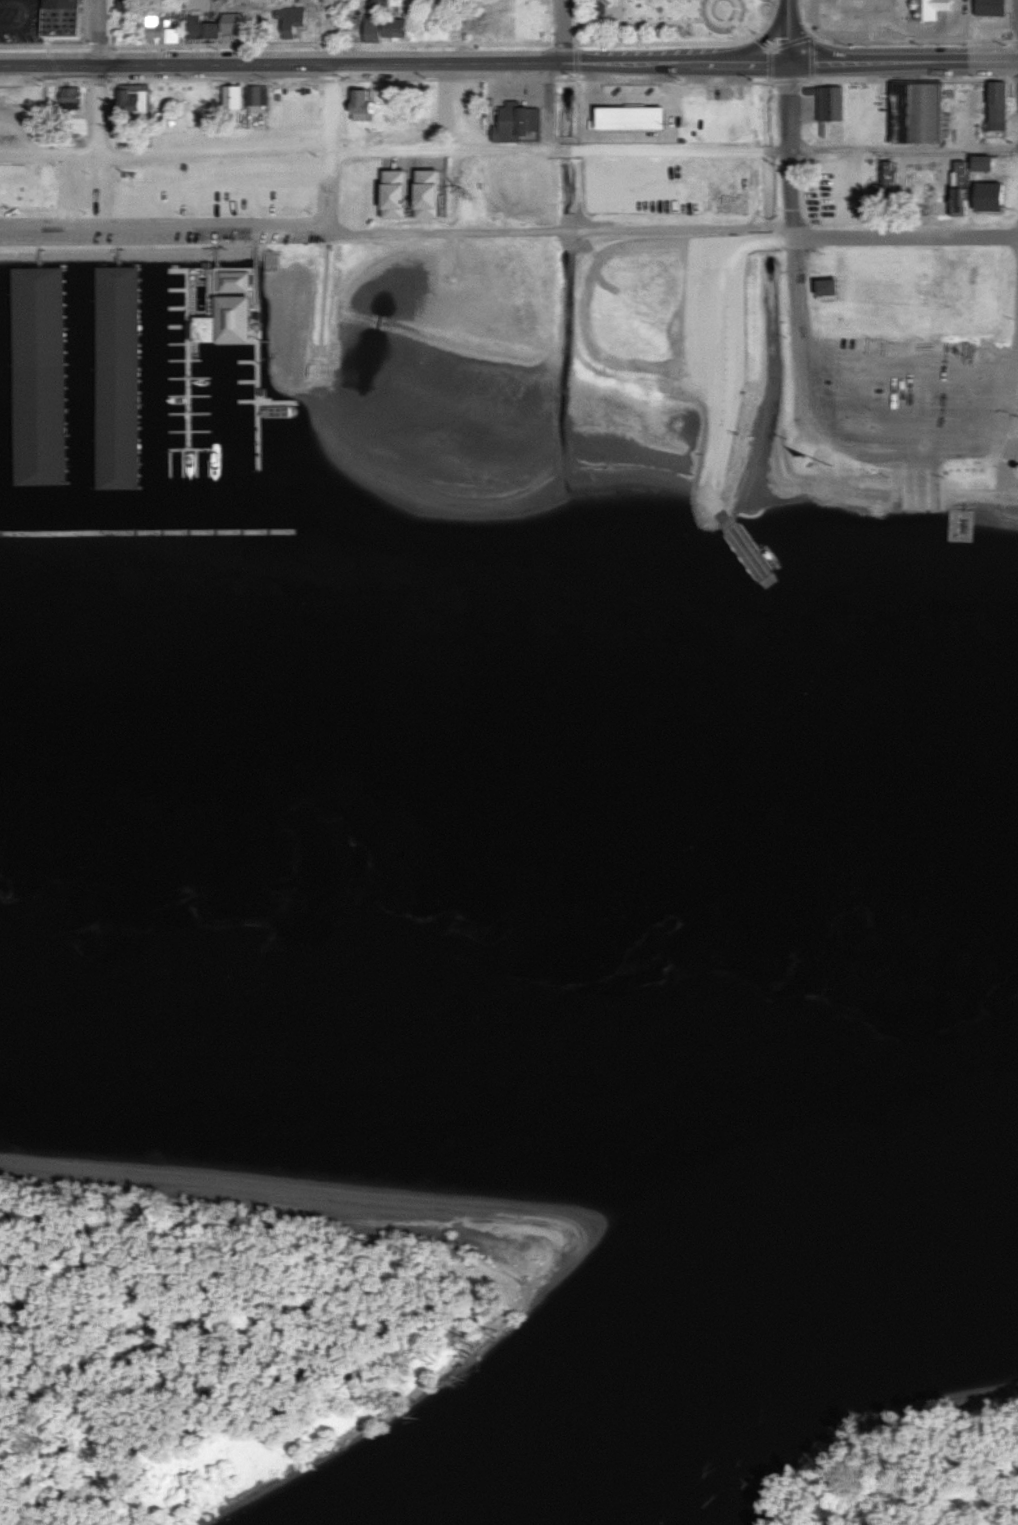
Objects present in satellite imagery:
building: (126, 4)
building: (998, 5)
building: (596, 8)
building: (928, 8)
road: (26, 12)
building: (495, 13)
building: (69, 14)
building: (155, 17)
building: (287, 19)
building: (379, 22)
building: (208, 26)
building: (175, 28)
road: (562, 28)
road: (789, 30)
building: (155, 35)
road: (394, 59)
road: (903, 59)
traffic signals: (789, 61)
road: (98, 73)
building: (144, 94)
building: (251, 95)
building: (230, 97)
building: (67, 99)
building: (619, 99)
building: (1006, 99)
building: (995, 100)
building: (828, 102)
building: (459, 103)
building: (359, 104)
road: (790, 105)
building: (923, 105)
building: (134, 107)
building: (524, 119)
road: (330, 143)
road: (226, 147)
road: (509, 147)
road: (904, 147)
road: (678, 148)
building: (981, 160)
building: (926, 167)
building: (887, 178)
road: (102, 186)
building: (958, 186)
road: (793, 192)
building: (931, 207)
road: (165, 225)
parking lot: (156, 228)
road: (569, 229)
road: (908, 235)
road: (800, 238)
road: (801, 287)
building: (826, 287)
building: (243, 299)
road: (725, 350)
road: (1017, 351)
pier: (192, 358)
pier: (49, 367)
building: (51, 371)
pier: (125, 371)
building: (125, 374)
pier: (281, 399)
parking lot: (901, 400)
pier: (263, 404)
pier: (195, 448)
pier: (49, 482)
pier: (125, 488)
road: (916, 488)
building: (716, 508)
pier: (149, 529)
river: (509, 1025)

